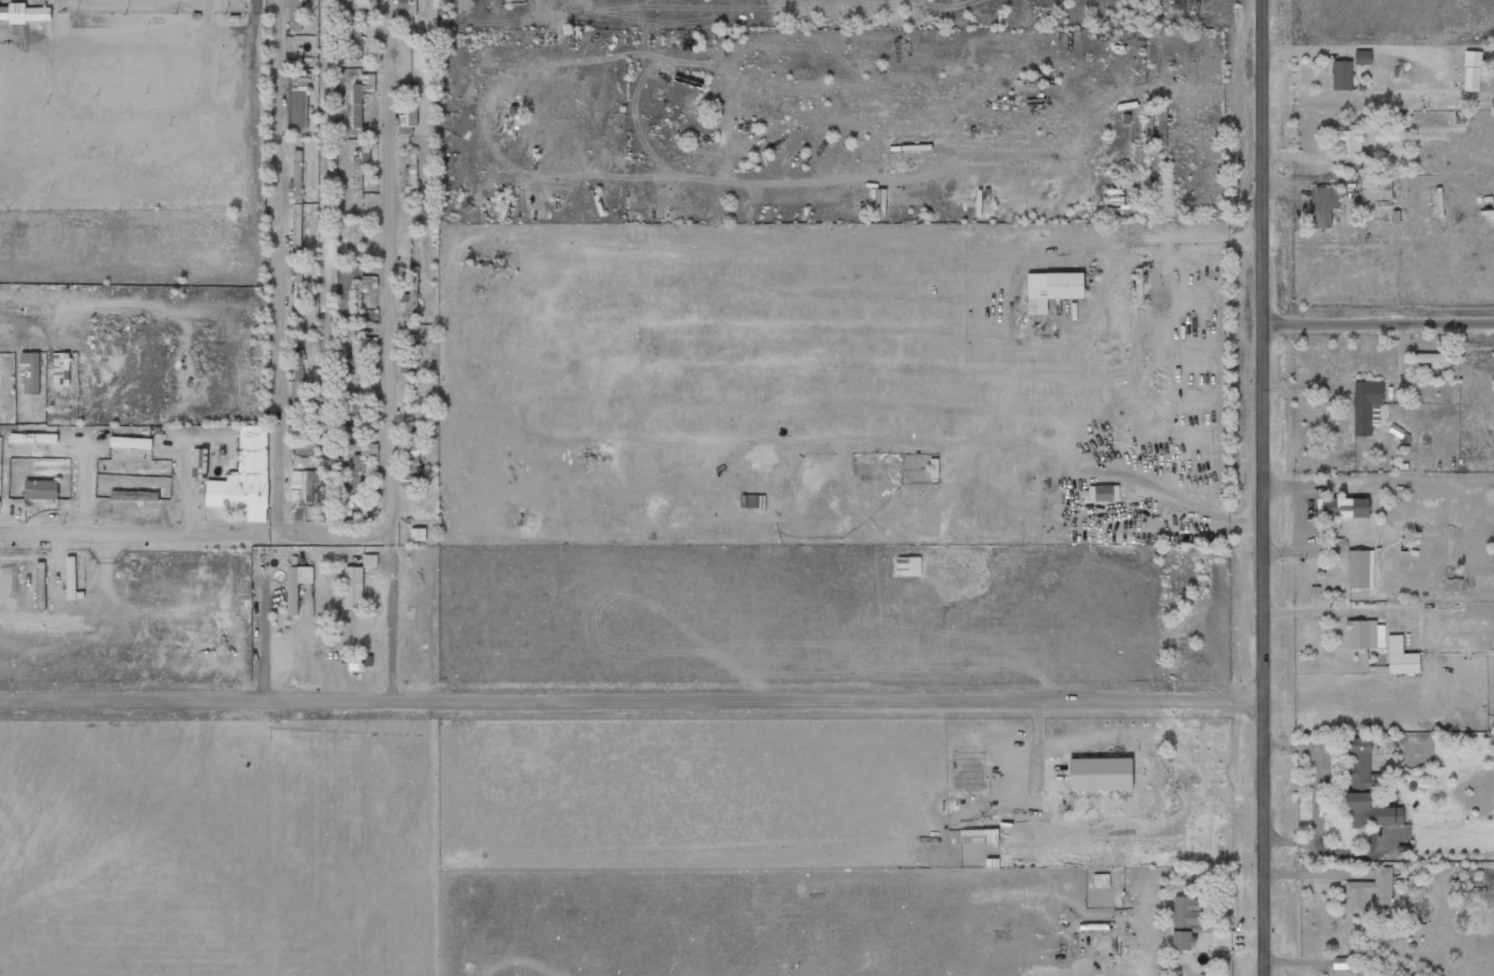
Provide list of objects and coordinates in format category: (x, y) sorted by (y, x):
building: (357, 4)
building: (406, 12)
building: (25, 13)
building: (295, 15)
building: (351, 33)
building: (1362, 57)
building: (1471, 71)
building: (1342, 75)
building: (297, 103)
building: (357, 112)
building: (1348, 143)
building: (1369, 162)
building: (410, 176)
building: (1376, 190)
building: (1323, 206)
building: (424, 214)
building: (296, 287)
building: (362, 289)
building: (1052, 289)
building: (409, 298)
road: (1379, 320)
building: (359, 355)
building: (409, 357)
building: (1434, 358)
building: (62, 369)
building: (30, 372)
building: (298, 382)
building: (1366, 406)
building: (350, 432)
building: (33, 437)
building: (131, 442)
building: (413, 453)
building: (199, 458)
building: (357, 474)
building: (245, 477)
building: (304, 487)
road: (1266, 488)
building: (41, 489)
building: (1103, 493)
building: (134, 496)
building: (1342, 508)
road: (334, 534)
building: (418, 534)
building: (908, 566)
building: (1359, 569)
building: (305, 574)
building: (357, 582)
building: (292, 601)
building: (1361, 634)
building: (1401, 657)
building: (355, 663)
building: (1360, 765)
building: (1371, 812)
building: (1370, 890)
building: (1186, 914)
building: (1182, 940)

